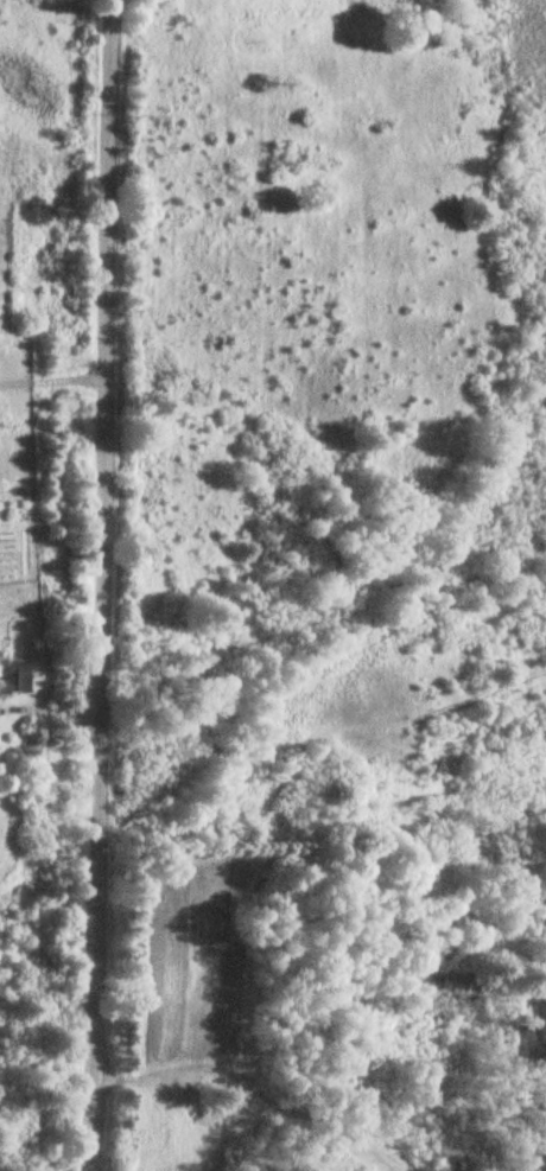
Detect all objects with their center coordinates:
road: (101, 585)
building: (13, 675)

